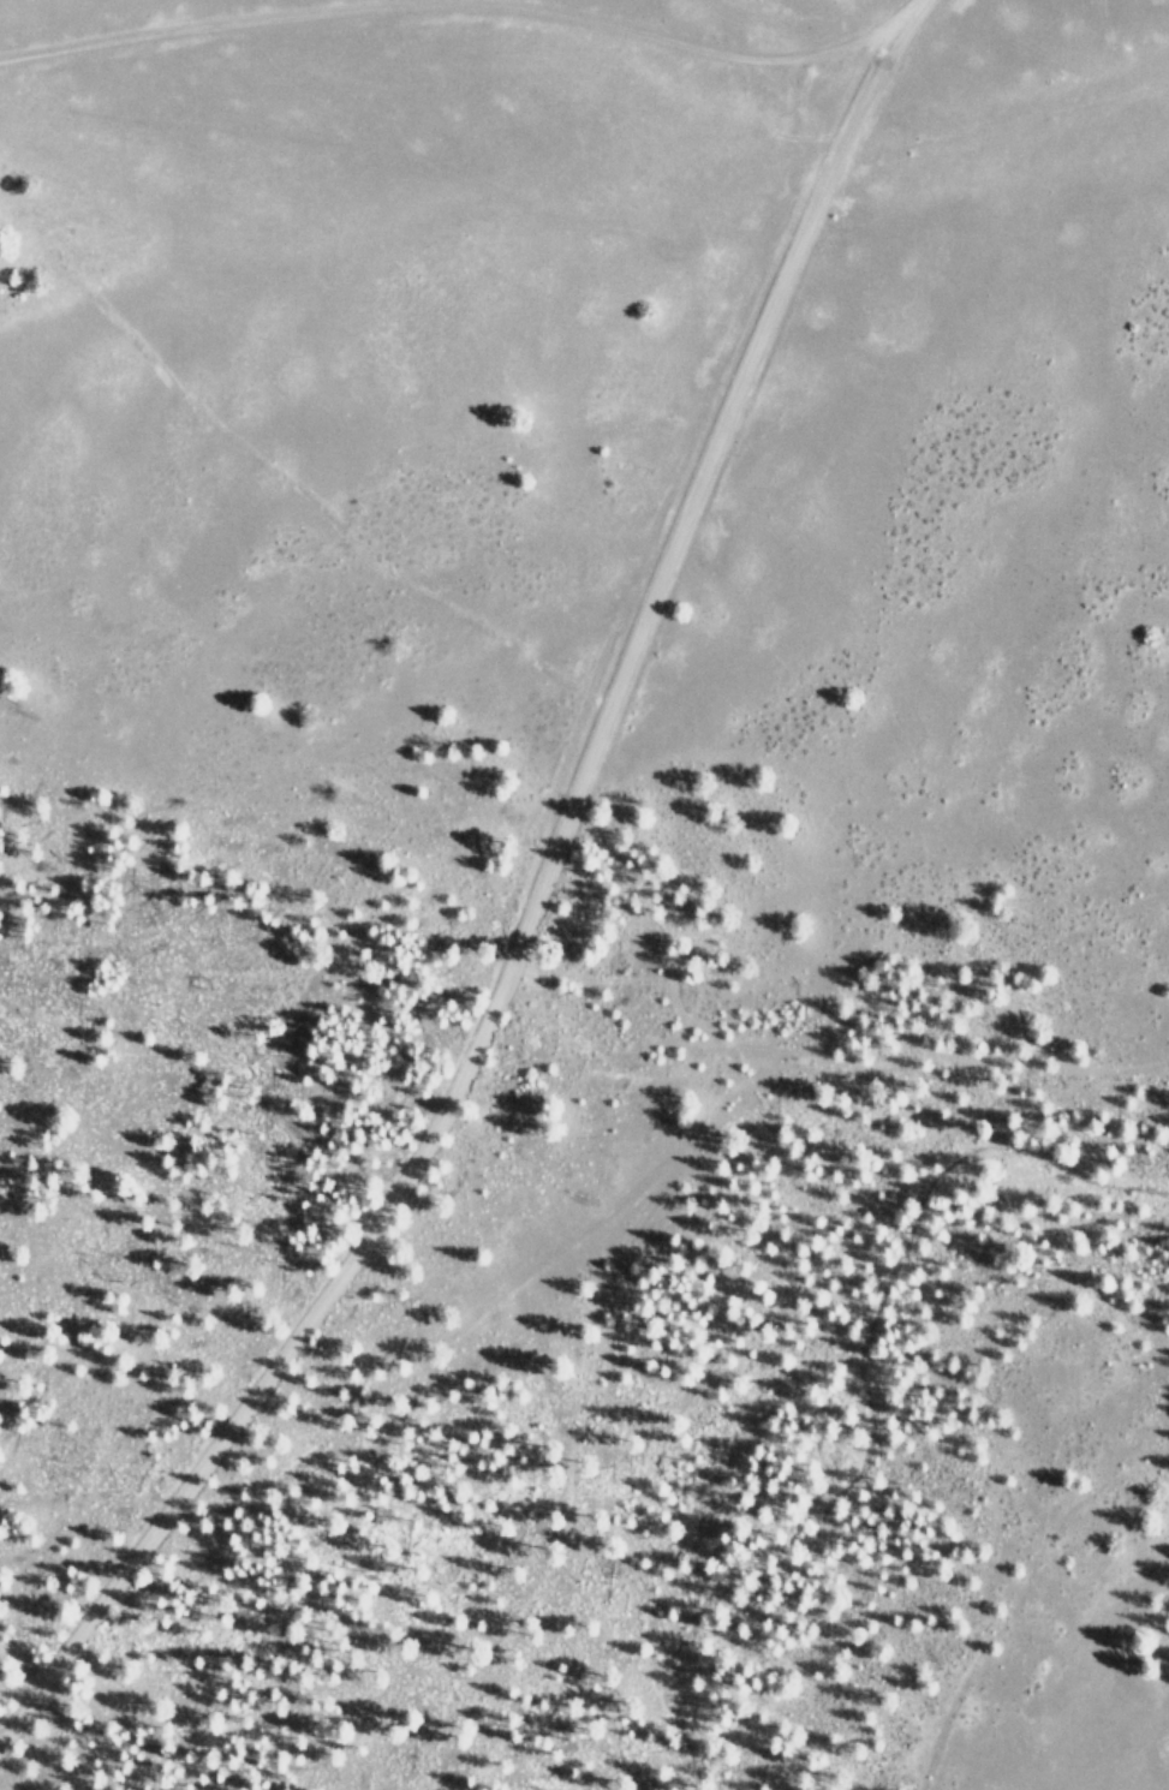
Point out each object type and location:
road: (417, 50)
road: (780, 209)
road: (419, 1088)

